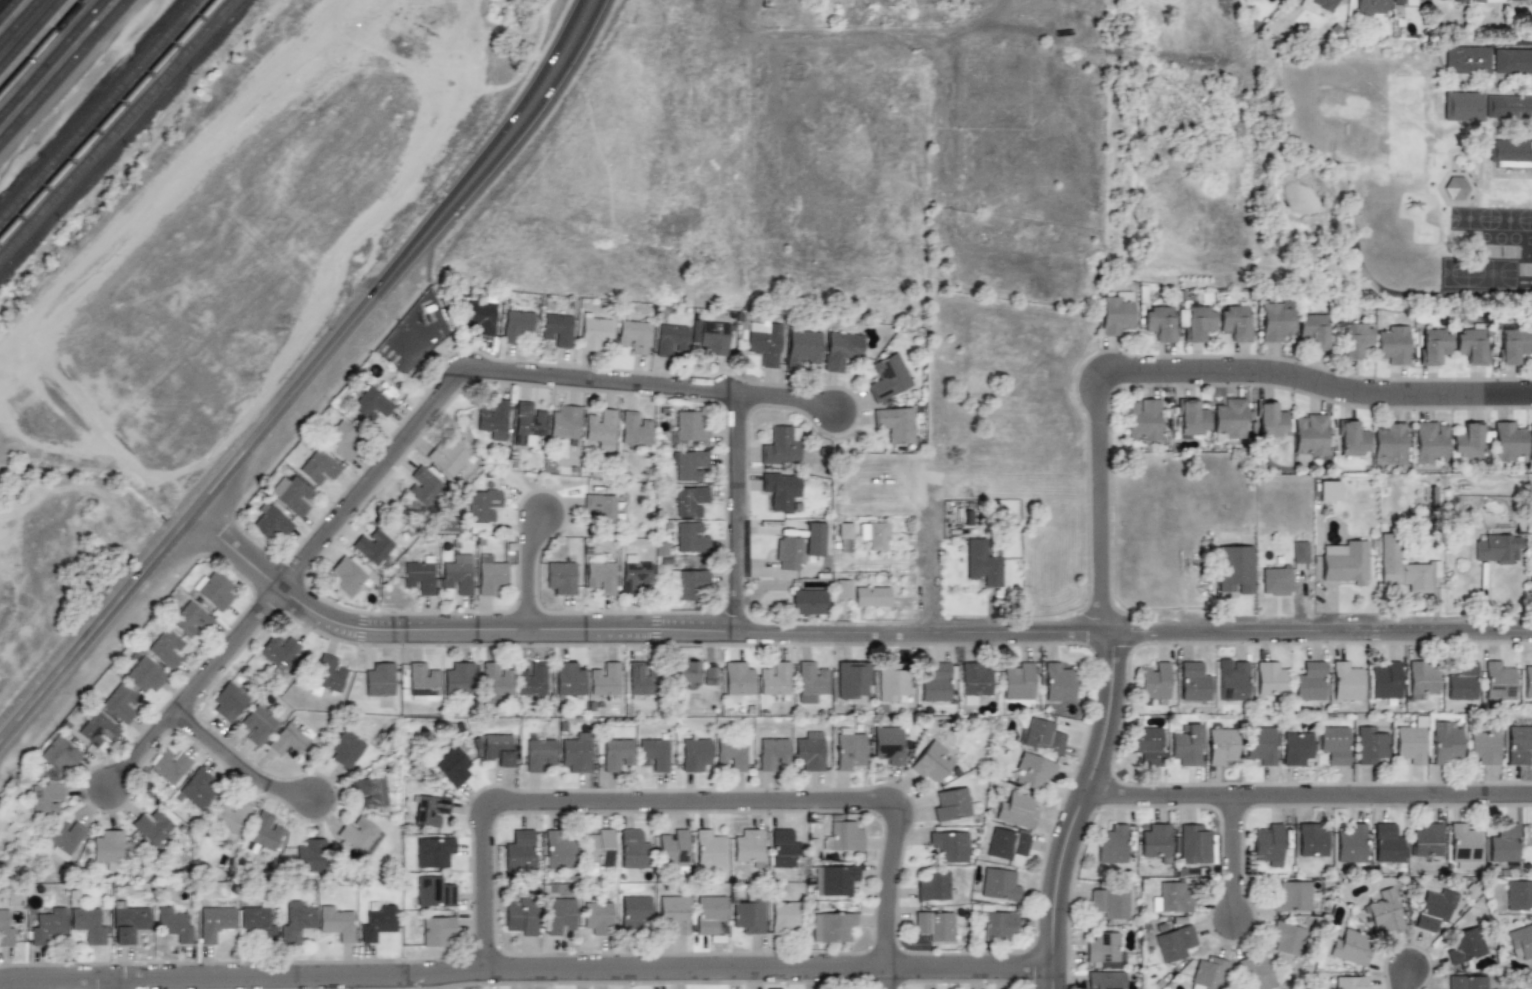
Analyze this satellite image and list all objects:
building: (1459, 0)
building: (1515, 0)
building: (1408, 1)
building: (1486, 1)
building: (1316, 4)
building: (1371, 8)
railway: (9, 10)
railway: (20, 22)
road: (821, 31)
railway: (31, 34)
road: (1518, 42)
railway: (42, 46)
railway: (53, 59)
building: (1488, 60)
railway: (64, 71)
building: (1487, 107)
railway: (99, 109)
railway: (108, 119)
railway: (117, 129)
road: (505, 141)
building: (1510, 154)
building: (1455, 188)
building: (430, 307)
building: (1115, 311)
building: (480, 316)
building: (1275, 319)
building: (1197, 321)
building: (1234, 321)
building: (1159, 322)
building: (516, 325)
building: (556, 329)
building: (1313, 329)
building: (593, 330)
power substation: (415, 335)
building: (633, 336)
building: (669, 336)
building: (716, 337)
building: (1354, 339)
building: (764, 340)
building: (1393, 343)
building: (1470, 344)
building: (1510, 344)
building: (1432, 345)
building: (802, 348)
building: (840, 349)
road: (435, 357)
road: (461, 370)
building: (887, 377)
road: (1202, 384)
road: (1316, 384)
road: (792, 399)
building: (371, 403)
building: (492, 418)
building: (1191, 419)
building: (1230, 419)
building: (1270, 420)
building: (1143, 421)
building: (526, 422)
building: (564, 423)
building: (896, 424)
building: (599, 425)
building: (688, 428)
building: (632, 430)
building: (1310, 434)
building: (340, 439)
building: (1352, 439)
building: (1530, 439)
building: (1467, 441)
building: (1390, 442)
building: (1431, 442)
building: (1508, 442)
building: (782, 446)
building: (446, 457)
building: (687, 464)
building: (318, 467)
building: (423, 484)
building: (781, 489)
building: (1329, 491)
building: (291, 494)
building: (689, 500)
building: (481, 507)
building: (599, 508)
road: (194, 510)
road: (740, 513)
building: (269, 521)
building: (873, 534)
building: (845, 536)
building: (687, 537)
building: (815, 538)
building: (372, 545)
building: (1495, 547)
building: (1300, 551)
building: (787, 553)
building: (980, 561)
building: (1343, 562)
road: (934, 567)
building: (1405, 567)
building: (1234, 569)
road: (528, 571)
building: (633, 573)
building: (457, 574)
building: (490, 574)
building: (420, 575)
building: (600, 575)
building: (345, 576)
building: (560, 576)
building: (1531, 576)
building: (1276, 581)
building: (689, 582)
building: (842, 588)
building: (213, 590)
building: (871, 596)
building: (808, 601)
building: (190, 618)
road: (1331, 619)
road: (1373, 631)
road: (842, 632)
road: (1130, 643)
road: (1329, 643)
building: (165, 648)
building: (278, 650)
building: (686, 671)
building: (328, 673)
building: (144, 674)
building: (708, 675)
building: (458, 677)
building: (638, 677)
building: (569, 678)
building: (738, 678)
building: (1270, 678)
building: (1527, 678)
building: (605, 679)
building: (852, 679)
building: (1384, 679)
building: (1420, 679)
building: (378, 680)
building: (422, 680)
building: (493, 680)
building: (531, 680)
building: (774, 680)
building: (810, 680)
building: (973, 680)
building: (1017, 680)
building: (1345, 680)
building: (1462, 680)
building: (1496, 680)
building: (1194, 681)
building: (1309, 681)
building: (936, 682)
building: (1058, 682)
building: (1154, 682)
building: (1233, 682)
building: (891, 683)
road: (1110, 686)
road: (197, 694)
building: (228, 700)
building: (119, 703)
building: (257, 725)
building: (97, 728)
building: (1041, 735)
building: (289, 738)
building: (1411, 741)
building: (1370, 743)
building: (1518, 743)
building: (887, 744)
building: (1186, 744)
building: (1260, 744)
building: (1334, 744)
building: (1446, 744)
building: (1147, 745)
building: (1221, 745)
building: (1485, 745)
building: (345, 746)
building: (1294, 746)
building: (498, 748)
building: (848, 750)
building: (809, 751)
building: (653, 752)
building: (58, 753)
building: (575, 753)
building: (616, 753)
building: (732, 753)
building: (772, 753)
building: (538, 754)
building: (695, 755)
building: (932, 762)
building: (169, 765)
building: (451, 766)
building: (1033, 770)
road: (243, 771)
road: (1260, 782)
building: (196, 788)
building: (370, 793)
road: (1308, 794)
building: (45, 796)
road: (692, 802)
building: (953, 804)
building: (1017, 809)
building: (429, 810)
building: (231, 815)
building: (154, 827)
building: (264, 830)
building: (360, 834)
building: (842, 836)
building: (65, 837)
building: (1312, 839)
building: (1427, 840)
building: (1156, 841)
building: (1007, 843)
building: (1193, 843)
building: (1351, 843)
building: (1388, 843)
building: (1463, 843)
building: (1502, 843)
building: (1112, 844)
building: (1268, 844)
building: (948, 845)
building: (748, 846)
building: (672, 847)
building: (783, 847)
building: (108, 848)
building: (597, 848)
building: (520, 849)
building: (632, 849)
building: (709, 849)
building: (558, 850)
building: (434, 851)
building: (311, 854)
road: (1232, 858)
building: (834, 879)
building: (999, 884)
building: (935, 886)
building: (433, 892)
building: (1518, 895)
building: (1291, 896)
building: (1171, 897)
building: (1109, 903)
building: (1433, 908)
building: (1383, 911)
building: (673, 913)
building: (709, 913)
building: (635, 914)
building: (749, 914)
building: (559, 915)
building: (520, 916)
building: (598, 917)
building: (785, 917)
building: (294, 919)
building: (257, 921)
building: (214, 922)
building: (127, 923)
building: (173, 923)
building: (336, 923)
building: (377, 923)
building: (88, 924)
building: (996, 924)
building: (47, 925)
building: (934, 925)
building: (833, 927)
building: (436, 929)
building: (5, 930)
building: (1286, 937)
building: (1520, 941)
building: (1174, 942)
building: (1464, 945)
building: (1347, 946)
building: (1104, 951)
road: (526, 969)
building: (1208, 974)
building: (1257, 974)
road: (887, 978)
building: (1105, 980)
road: (1396, 981)
building: (1349, 982)
building: (1465, 982)
road: (110, 984)

